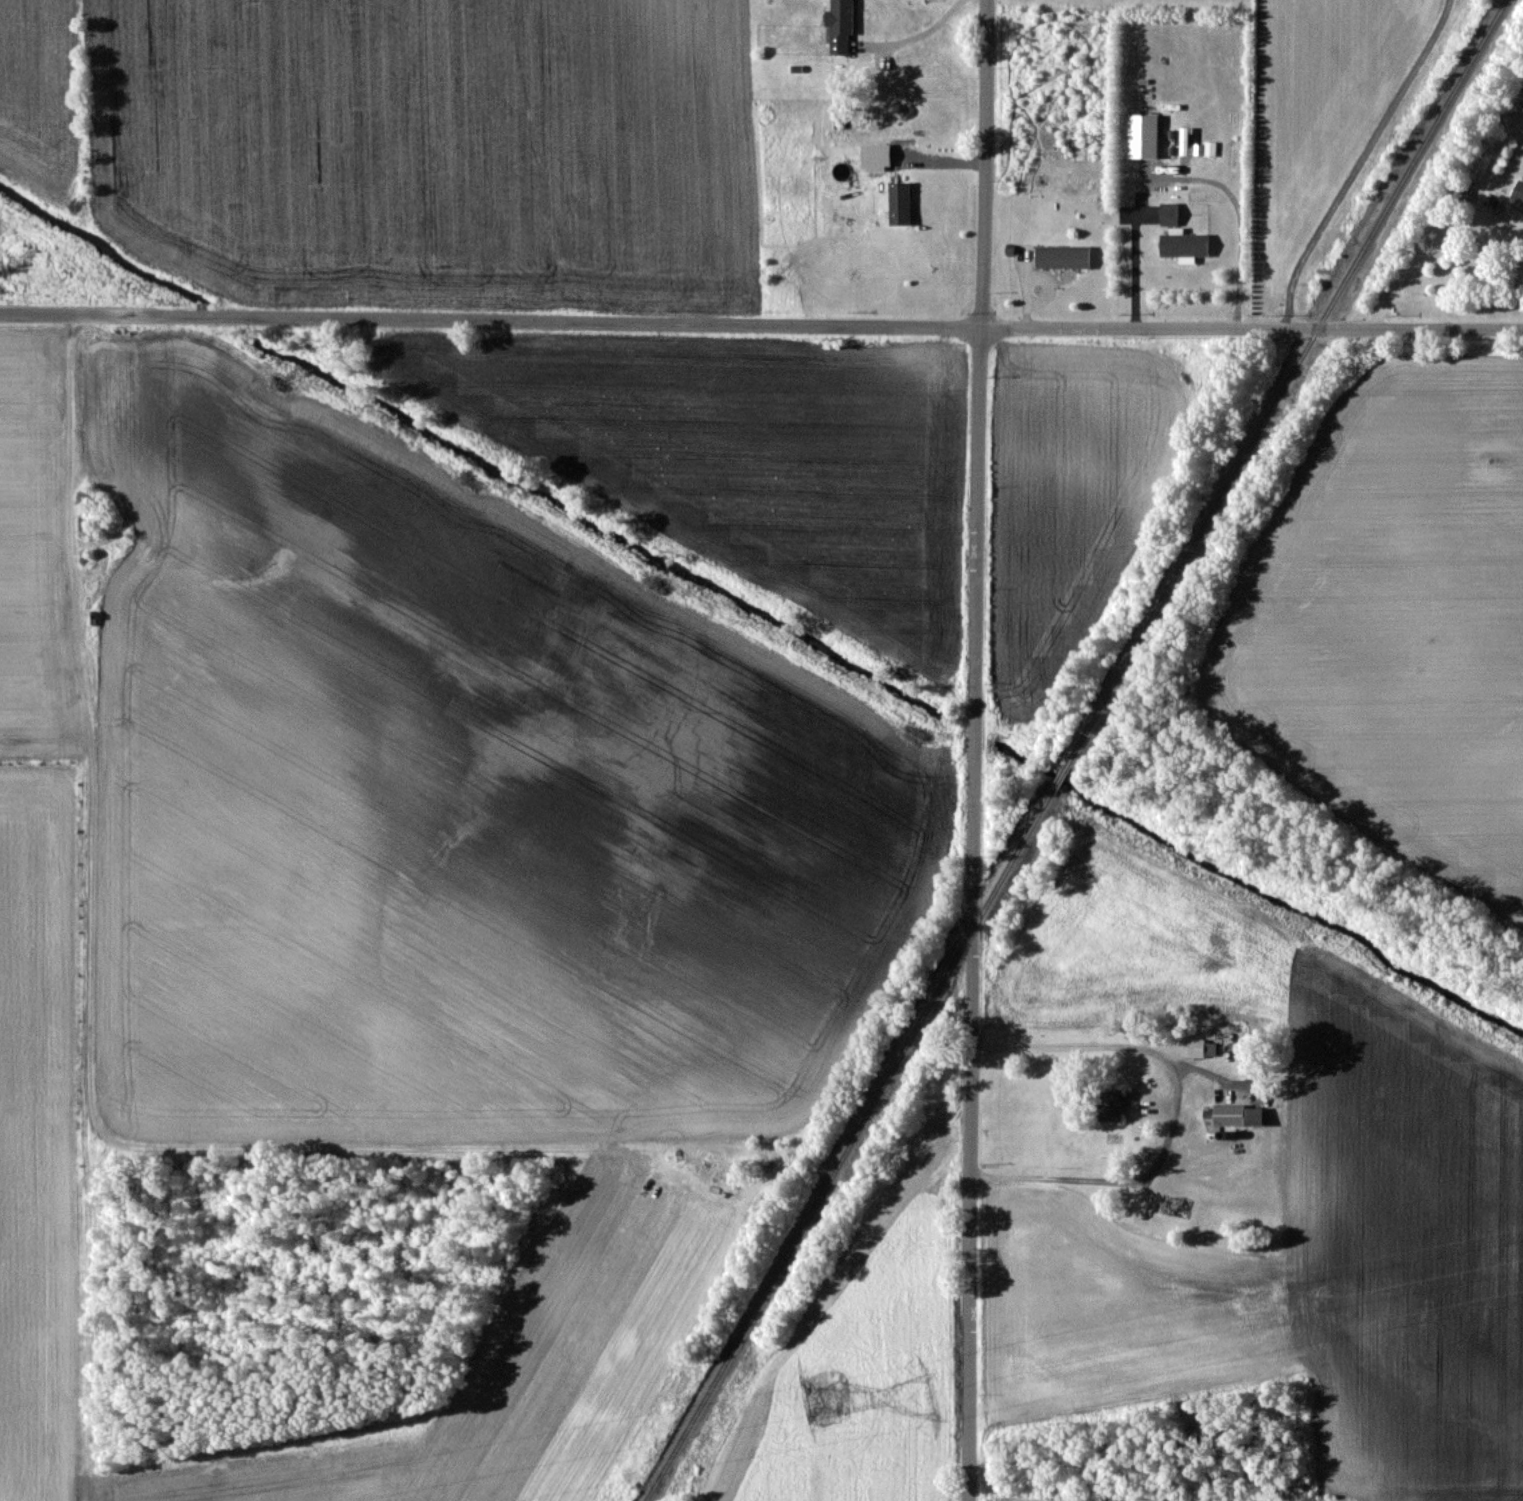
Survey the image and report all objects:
building: (840, 26)
road: (920, 30)
building: (1521, 94)
building: (1142, 135)
road: (1355, 161)
road: (1178, 177)
building: (1518, 191)
building: (899, 203)
building: (1168, 213)
building: (1183, 244)
road: (1429, 245)
building: (1062, 255)
road: (761, 321)
road: (967, 750)
railway: (1073, 750)
building: (1201, 1048)
building: (1109, 1104)
road: (1175, 1108)
building: (1253, 1116)
building: (1177, 1206)
power tower: (817, 1392)

